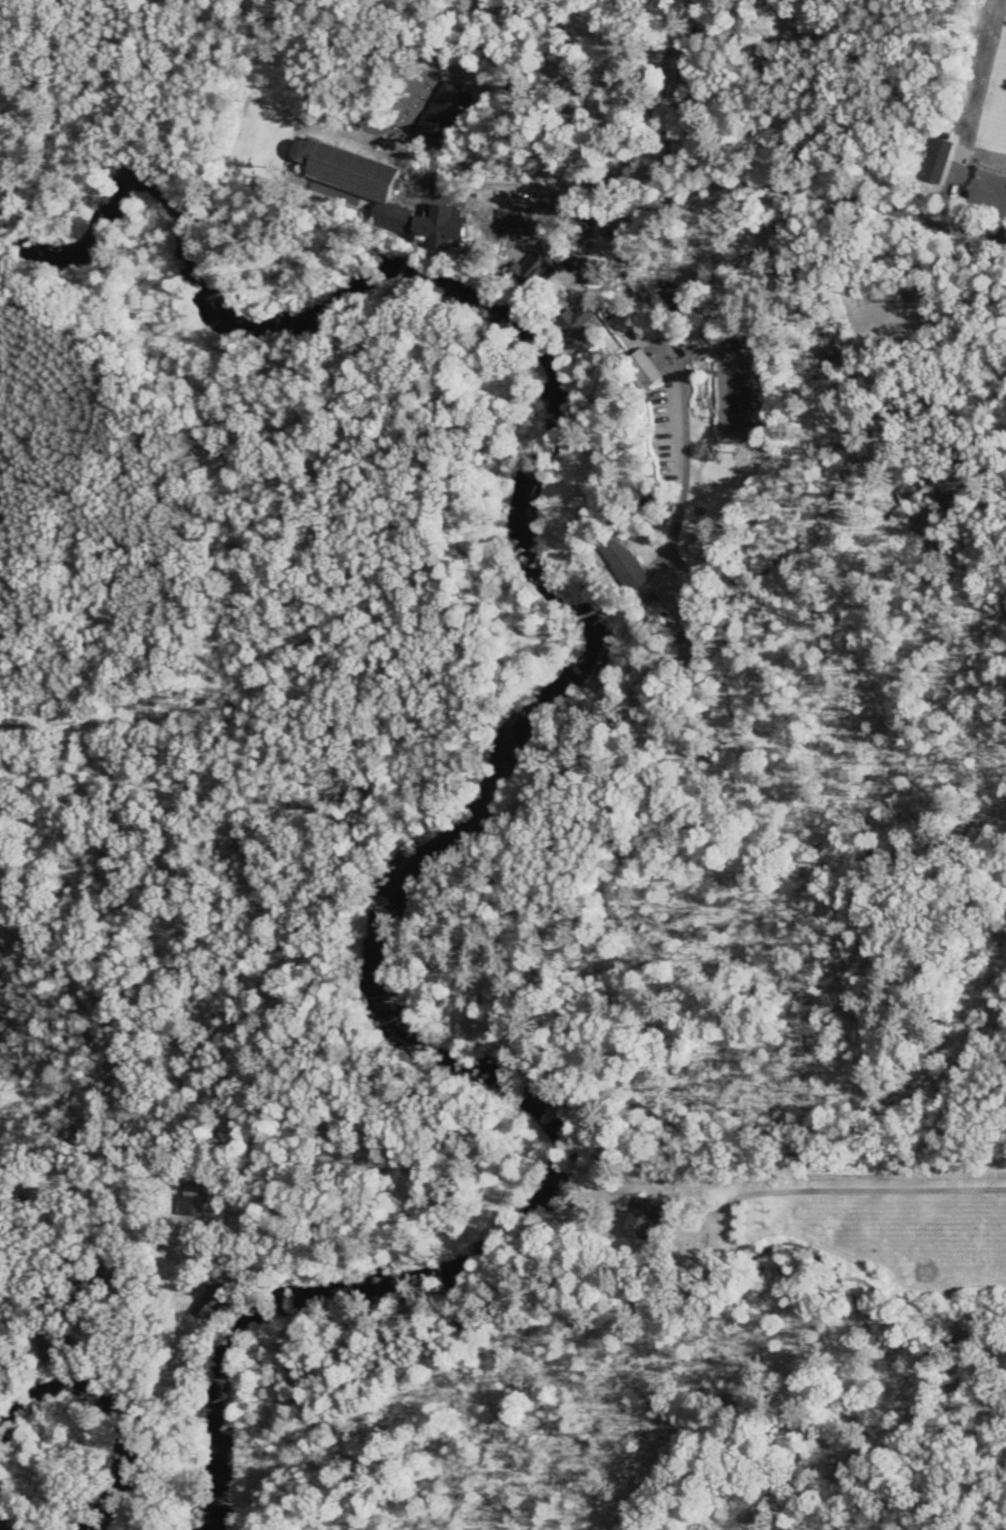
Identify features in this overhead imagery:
road: (728, 192)
building: (647, 371)
park: (740, 399)
river: (530, 714)
road: (126, 1162)
river: (117, 1405)
river: (2, 1528)

